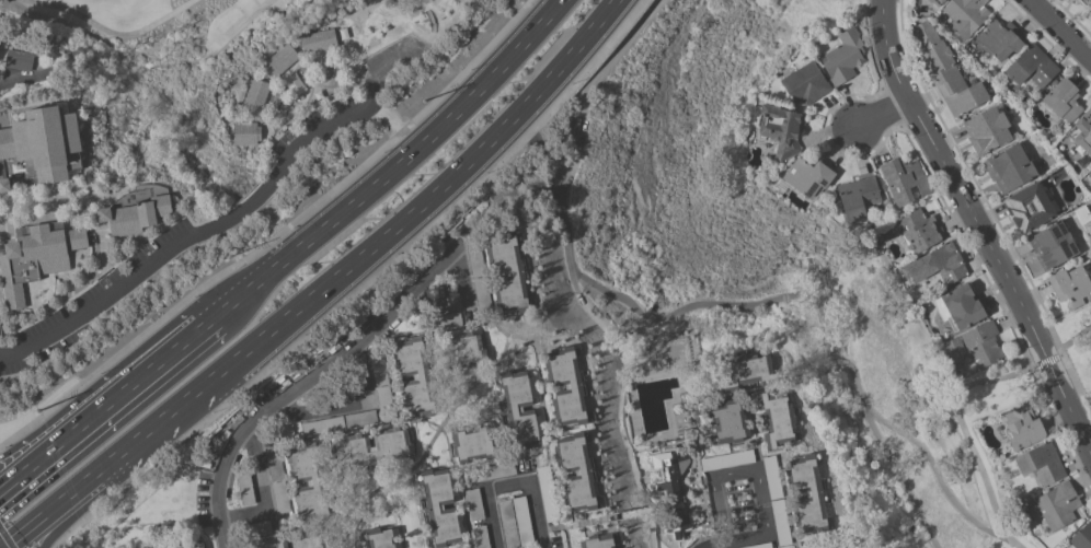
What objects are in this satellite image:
building: (937, 1)
building: (1090, 1)
park: (473, 11)
building: (965, 15)
road: (1063, 27)
road: (111, 30)
building: (0, 40)
building: (997, 40)
building: (320, 42)
building: (0, 46)
road: (897, 48)
park: (164, 49)
building: (842, 57)
building: (21, 60)
building: (282, 61)
building: (1032, 67)
building: (944, 70)
building: (804, 83)
building: (294, 84)
road: (15, 89)
road: (589, 90)
building: (256, 97)
building: (1061, 100)
road: (880, 113)
building: (779, 128)
building: (986, 130)
building: (1081, 131)
building: (246, 133)
building: (41, 150)
road: (398, 159)
building: (1009, 167)
building: (1089, 172)
building: (806, 176)
building: (903, 179)
building: (857, 198)
building: (1027, 207)
building: (139, 212)
road: (399, 229)
building: (919, 230)
road: (202, 233)
road: (277, 236)
building: (1052, 245)
building: (37, 258)
building: (934, 265)
road: (998, 266)
building: (507, 269)
building: (478, 277)
building: (1071, 285)
road: (361, 288)
road: (757, 301)
building: (962, 305)
road: (1072, 338)
building: (459, 340)
building: (972, 349)
road: (1046, 361)
building: (744, 370)
park: (1029, 372)
building: (414, 374)
road: (310, 381)
road: (112, 382)
building: (381, 382)
building: (566, 386)
road: (124, 388)
building: (519, 408)
building: (777, 417)
park: (892, 419)
building: (727, 421)
building: (338, 422)
building: (1022, 425)
road: (967, 432)
building: (472, 441)
building: (372, 447)
building: (1040, 463)
building: (491, 470)
road: (736, 471)
road: (97, 474)
building: (668, 474)
road: (937, 475)
building: (309, 478)
building: (276, 479)
road: (12, 481)
road: (508, 483)
road: (102, 489)
building: (547, 492)
building: (806, 493)
building: (473, 503)
building: (1057, 504)
building: (441, 506)
building: (515, 522)
building: (677, 522)
road: (23, 534)
building: (480, 536)
building: (381, 537)
building: (1081, 537)
road: (7, 538)
road: (739, 539)
building: (598, 540)
building: (192, 546)
building: (200, 547)

